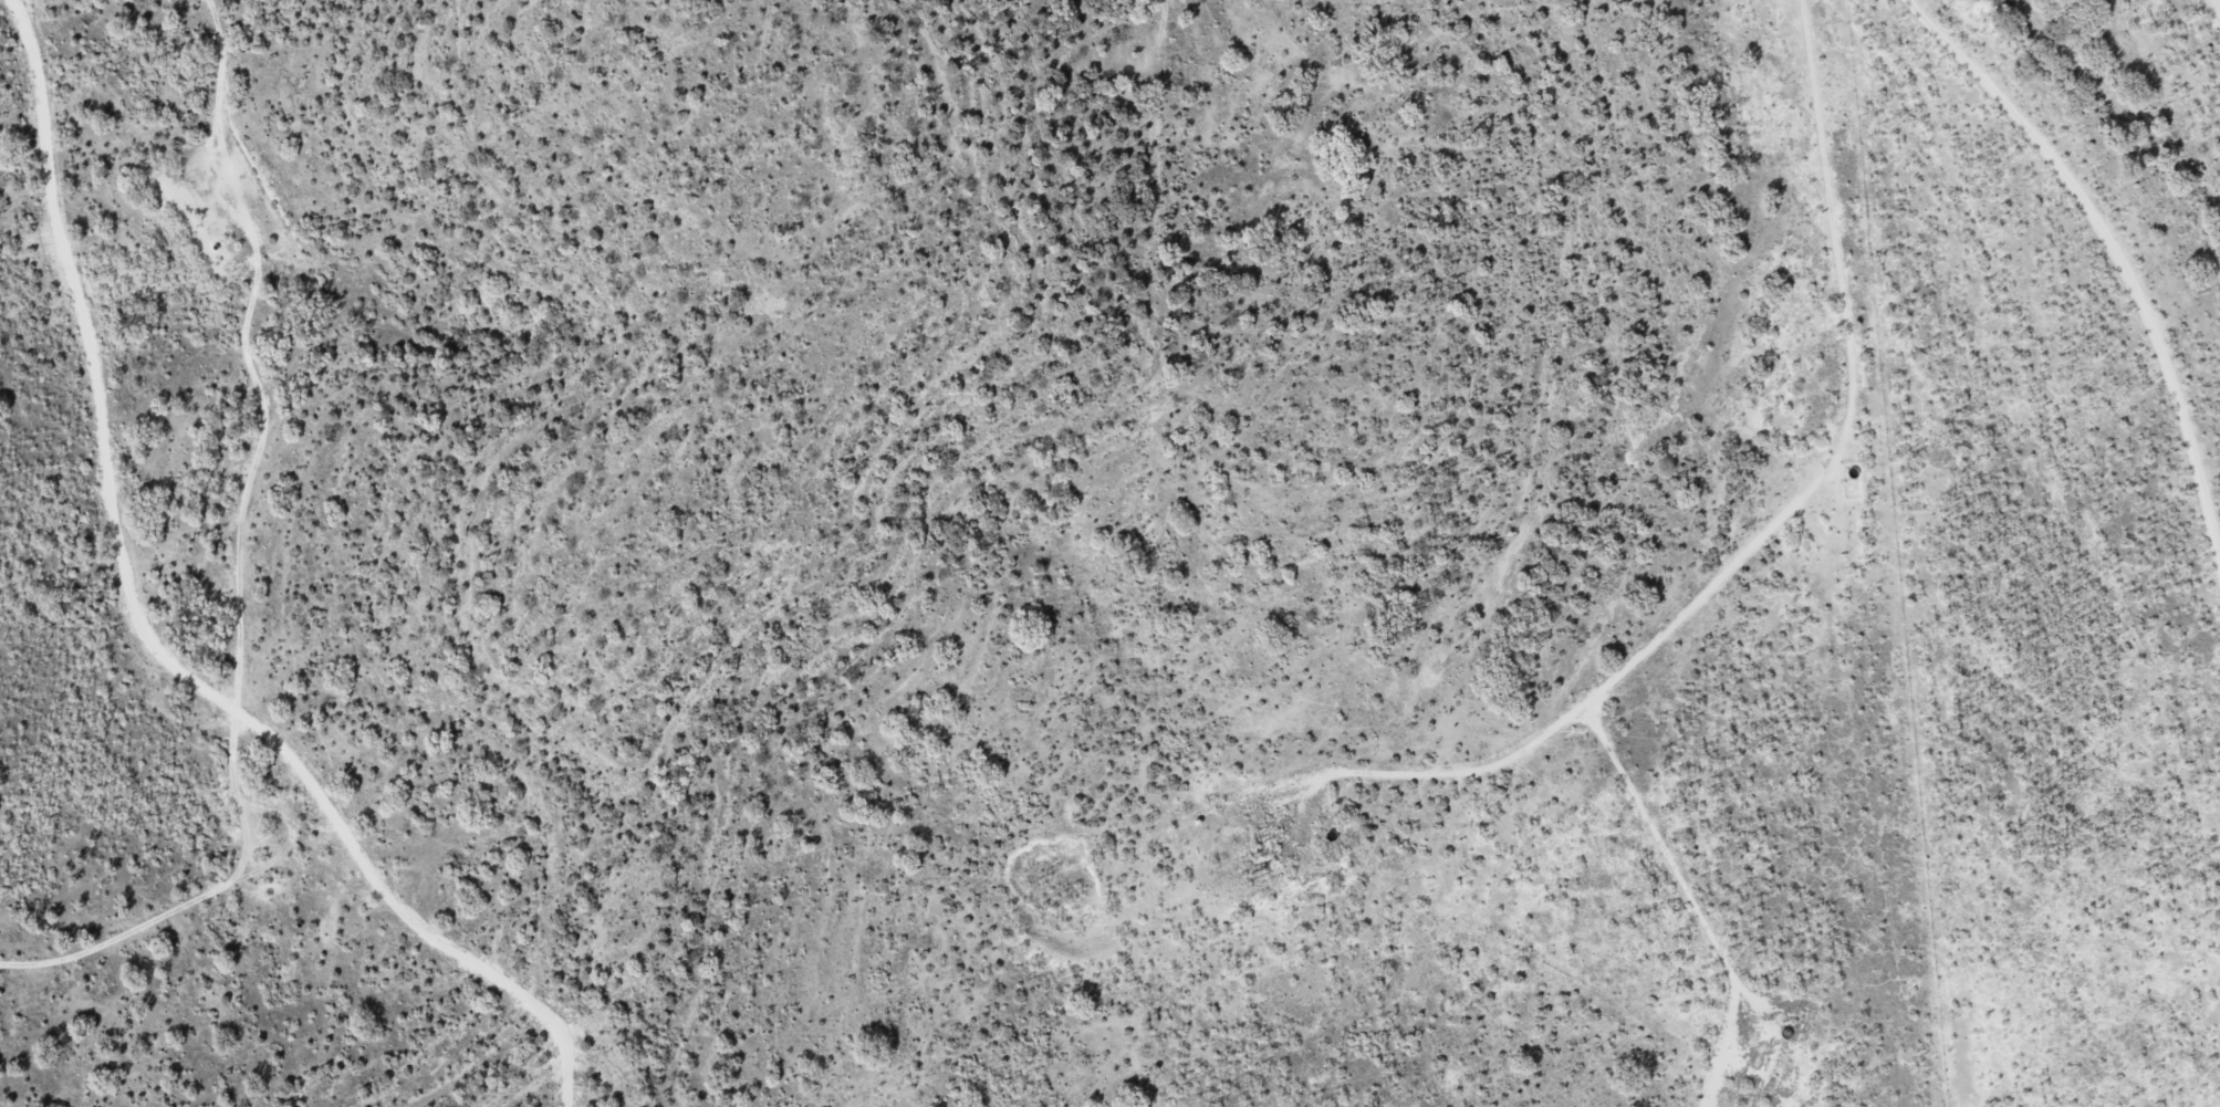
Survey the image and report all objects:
road: (1827, 213)
road: (2122, 282)

